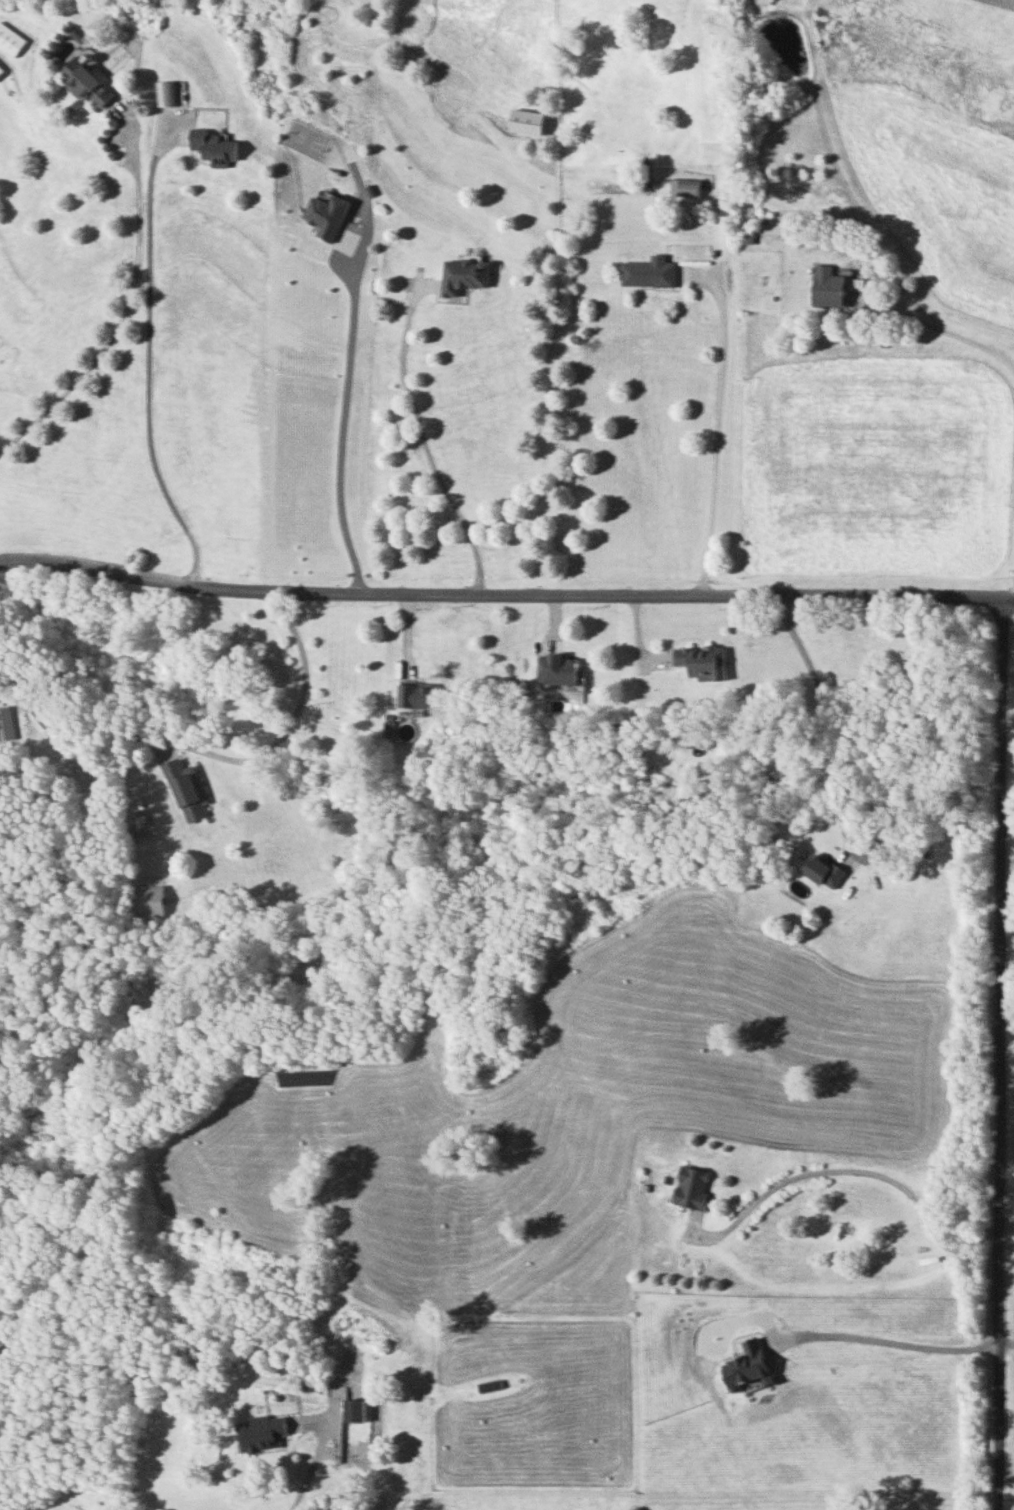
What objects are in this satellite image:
building: (760, 1)
building: (9, 40)
building: (0, 70)
building: (83, 81)
building: (760, 88)
building: (164, 92)
building: (212, 145)
building: (684, 187)
road: (872, 214)
building: (648, 272)
building: (462, 276)
building: (830, 286)
road: (124, 324)
road: (152, 365)
road: (339, 435)
road: (718, 438)
road: (429, 443)
road: (505, 594)
building: (700, 660)
building: (556, 667)
building: (414, 694)
road: (831, 714)
road: (293, 721)
building: (5, 723)
building: (185, 788)
building: (822, 870)
building: (144, 899)
road: (1000, 1053)
road: (849, 1166)
building: (691, 1186)
road: (885, 1337)
road: (1007, 1349)
building: (746, 1364)
building: (353, 1409)
building: (260, 1433)
road: (324, 1441)

